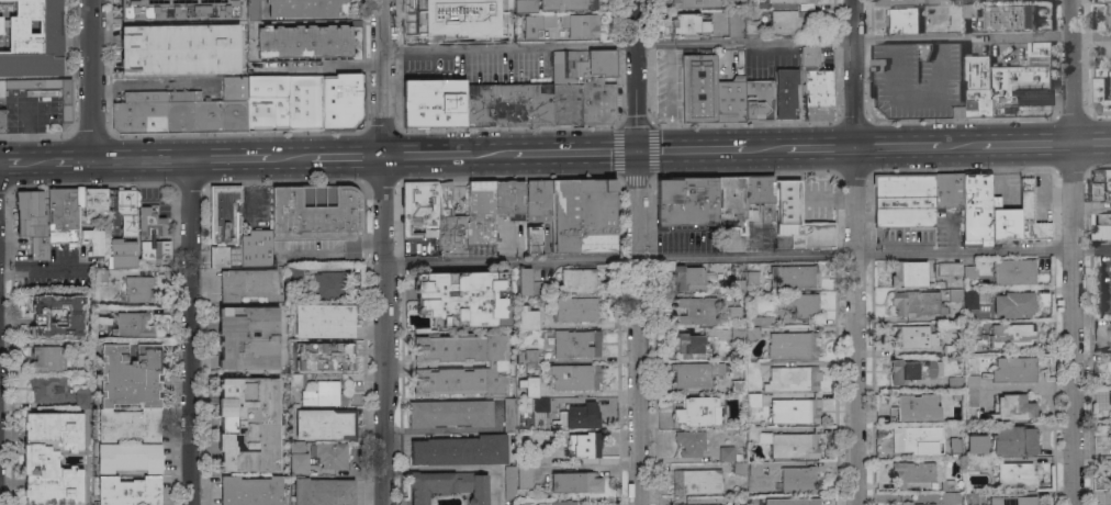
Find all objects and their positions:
building: (895, 0)
building: (920, 0)
building: (944, 2)
building: (423, 3)
building: (697, 3)
building: (785, 3)
building: (566, 4)
building: (750, 4)
building: (465, 5)
building: (518, 5)
building: (305, 8)
building: (178, 9)
building: (968, 9)
building: (252, 10)
building: (1008, 16)
building: (1109, 19)
building: (750, 21)
building: (904, 21)
building: (793, 22)
building: (689, 23)
building: (733, 23)
building: (536, 24)
building: (580, 24)
building: (454, 29)
building: (33, 40)
building: (304, 42)
road: (747, 45)
building: (179, 49)
building: (259, 67)
road: (1070, 72)
road: (90, 79)
building: (918, 80)
building: (1022, 83)
building: (816, 86)
building: (583, 87)
building: (976, 87)
building: (698, 88)
building: (785, 92)
building: (1100, 92)
building: (731, 99)
building: (757, 99)
building: (268, 102)
building: (304, 102)
building: (434, 102)
building: (508, 103)
building: (66, 110)
building: (181, 110)
building: (353, 110)
building: (1, 121)
road: (1092, 145)
road: (1026, 146)
road: (961, 148)
road: (897, 149)
traffic signals: (638, 151)
road: (692, 151)
road: (765, 151)
road: (819, 151)
road: (574, 153)
road: (491, 154)
road: (427, 155)
road: (347, 156)
road: (290, 157)
road: (232, 158)
road: (45, 159)
road: (142, 159)
building: (1101, 184)
building: (947, 190)
building: (761, 194)
building: (730, 198)
building: (509, 199)
road: (1074, 199)
building: (538, 200)
building: (905, 200)
building: (686, 201)
building: (977, 206)
building: (419, 210)
building: (481, 213)
building: (63, 214)
building: (1030, 214)
building: (318, 215)
building: (583, 215)
building: (798, 218)
building: (1005, 221)
building: (32, 222)
building: (222, 222)
building: (449, 222)
building: (127, 227)
building: (1102, 227)
building: (151, 236)
building: (534, 238)
building: (93, 239)
building: (255, 248)
road: (372, 251)
road: (385, 251)
road: (638, 251)
road: (855, 251)
road: (1092, 251)
road: (351, 252)
road: (312, 254)
building: (233, 257)
road: (729, 258)
road: (43, 266)
building: (950, 269)
building: (1013, 271)
building: (908, 273)
building: (101, 277)
building: (790, 277)
building: (969, 277)
building: (752, 278)
building: (295, 279)
building: (687, 279)
building: (577, 280)
building: (525, 281)
building: (249, 284)
building: (328, 285)
building: (737, 285)
building: (137, 289)
building: (956, 295)
building: (462, 298)
building: (543, 299)
building: (970, 300)
building: (799, 303)
building: (917, 303)
building: (1013, 304)
building: (575, 310)
building: (695, 311)
building: (99, 312)
building: (734, 312)
building: (34, 315)
building: (526, 315)
building: (324, 321)
building: (761, 321)
building: (133, 325)
road: (193, 332)
building: (736, 333)
building: (752, 333)
building: (1011, 335)
building: (912, 336)
building: (248, 337)
building: (1109, 338)
building: (575, 343)
building: (793, 344)
building: (692, 345)
building: (952, 349)
building: (324, 356)
building: (47, 358)
building: (525, 358)
building: (750, 363)
building: (495, 364)
building: (913, 370)
building: (1014, 370)
building: (1109, 371)
building: (696, 374)
building: (575, 377)
building: (793, 378)
road: (1073, 379)
building: (296, 380)
building: (954, 383)
building: (529, 385)
building: (738, 386)
building: (970, 388)
building: (47, 389)
building: (130, 393)
building: (324, 394)
building: (1108, 396)
building: (81, 399)
building: (753, 400)
building: (541, 404)
building: (1013, 407)
building: (914, 408)
building: (796, 409)
building: (698, 412)
building: (449, 413)
building: (1110, 413)
building: (508, 415)
building: (579, 416)
building: (325, 424)
building: (248, 425)
building: (1110, 430)
building: (756, 435)
building: (916, 438)
building: (1013, 440)
building: (689, 442)
building: (976, 444)
building: (583, 445)
building: (296, 446)
building: (795, 446)
building: (460, 450)
building: (956, 450)
building: (726, 453)
building: (332, 454)
building: (738, 457)
building: (50, 458)
building: (130, 458)
building: (542, 458)
building: (298, 463)
building: (972, 464)
building: (739, 468)
building: (755, 468)
building: (912, 472)
building: (1015, 474)
building: (524, 475)
building: (798, 479)
building: (697, 481)
building: (509, 482)
building: (575, 482)
building: (1110, 482)
building: (448, 485)
building: (947, 485)
building: (128, 491)
building: (250, 491)
building: (322, 492)
building: (951, 497)
building: (1110, 497)
building: (972, 498)
building: (738, 500)
building: (792, 501)
building: (1013, 501)
building: (564, 502)
building: (906, 503)
building: (682, 504)
building: (716, 504)
building: (928, 504)

